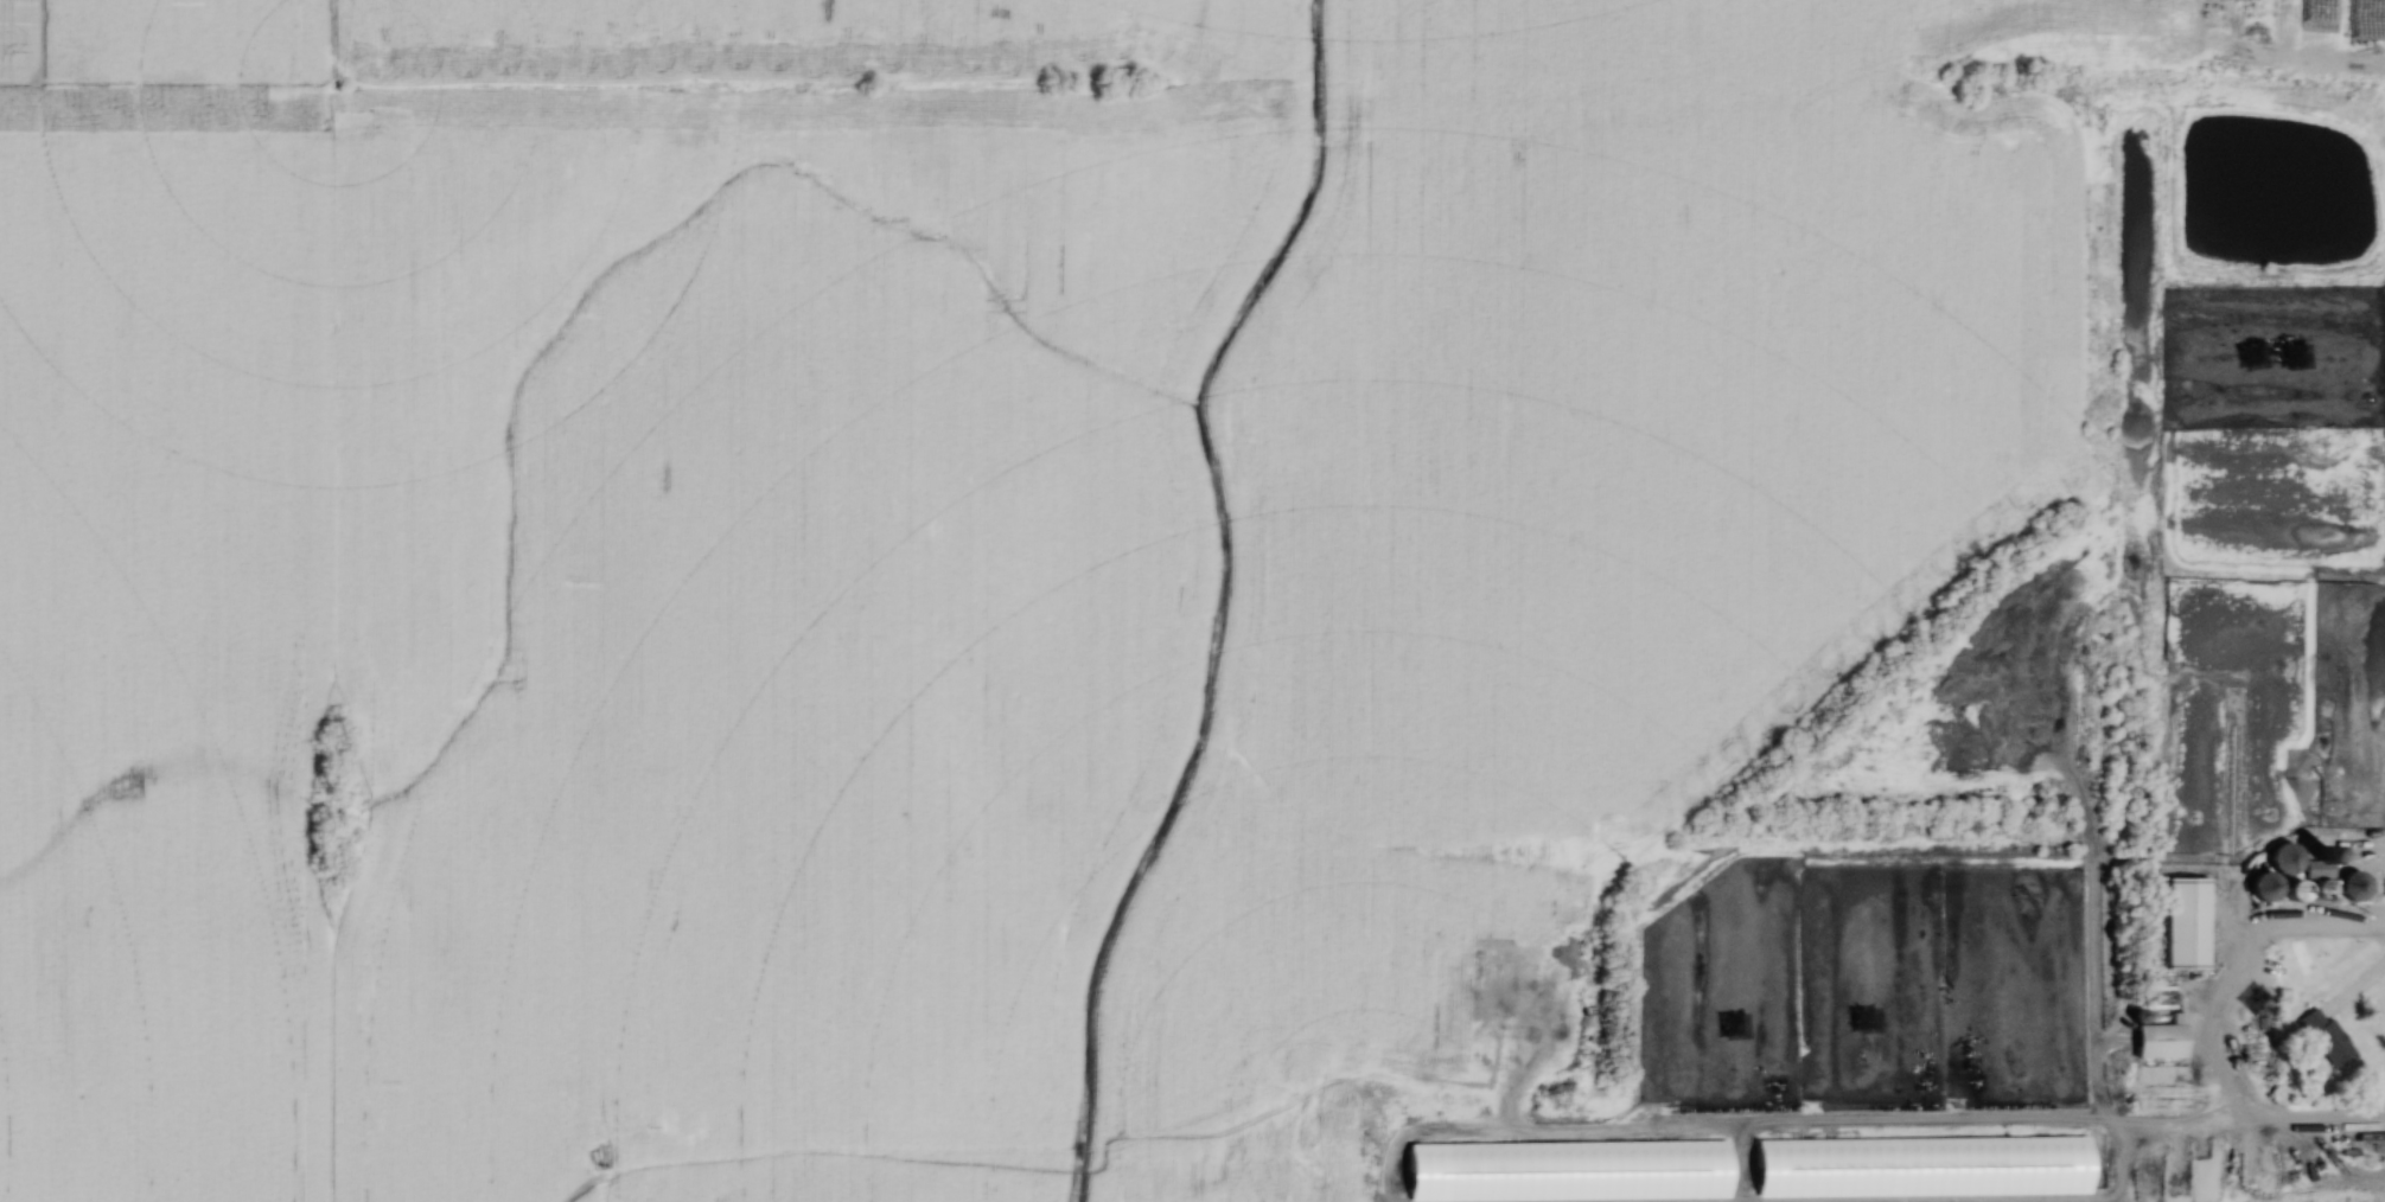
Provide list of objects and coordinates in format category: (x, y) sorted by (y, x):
building: (2180, 923)
building: (2322, 1037)
road: (2208, 1051)

